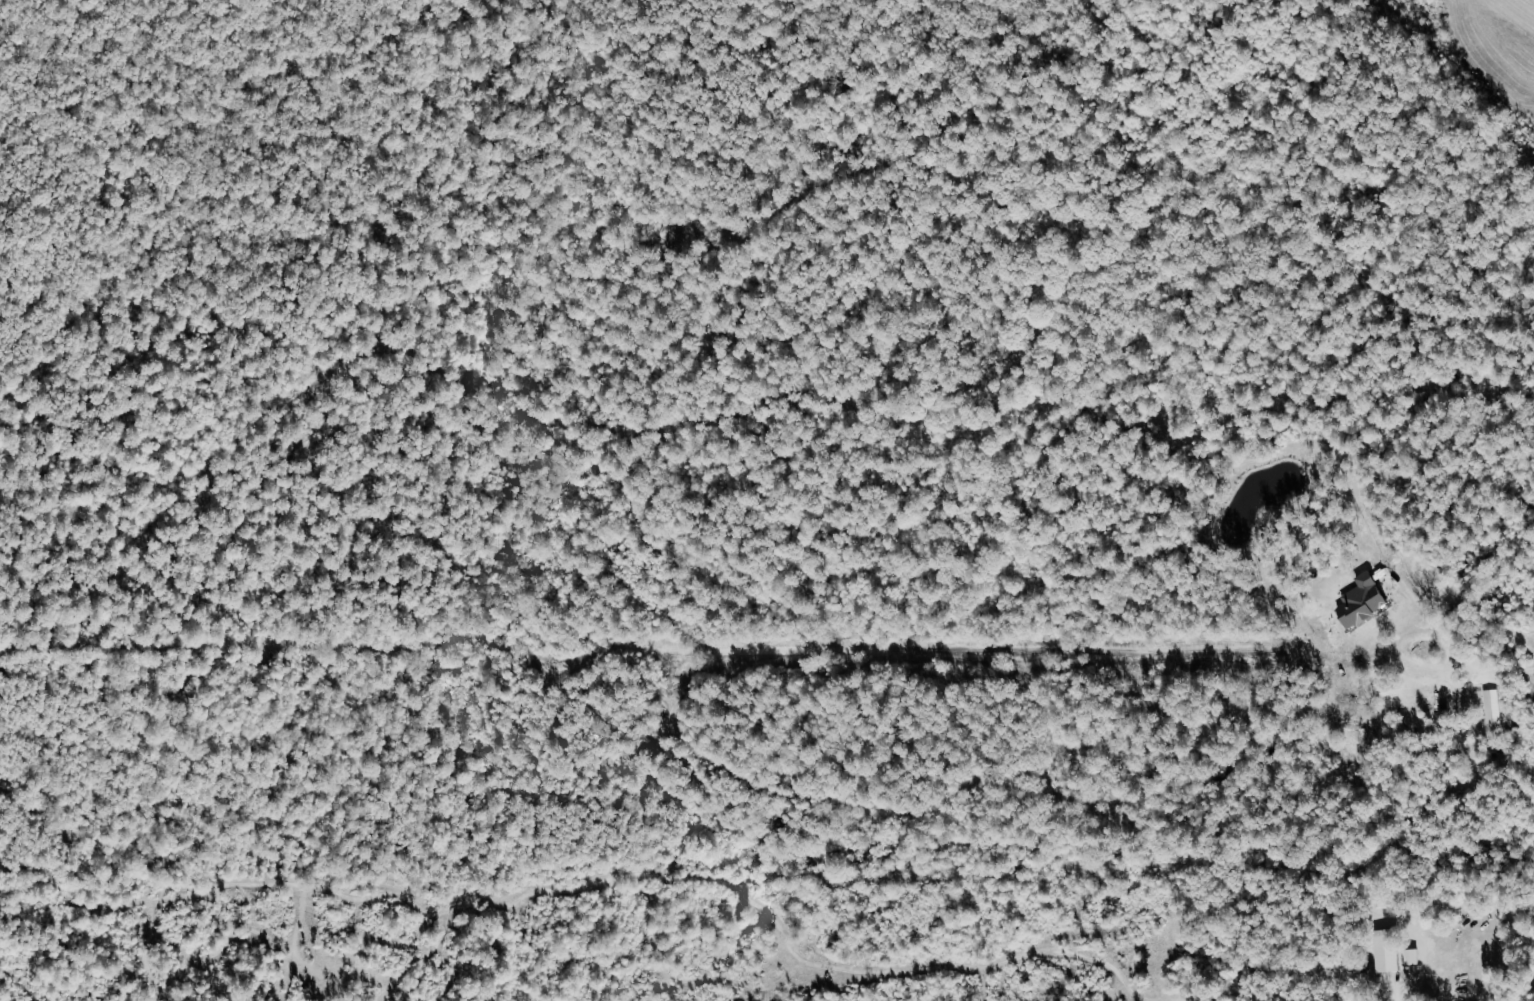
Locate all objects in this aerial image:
building: (1361, 601)
building: (1491, 694)
building: (1413, 957)
road: (1393, 996)

